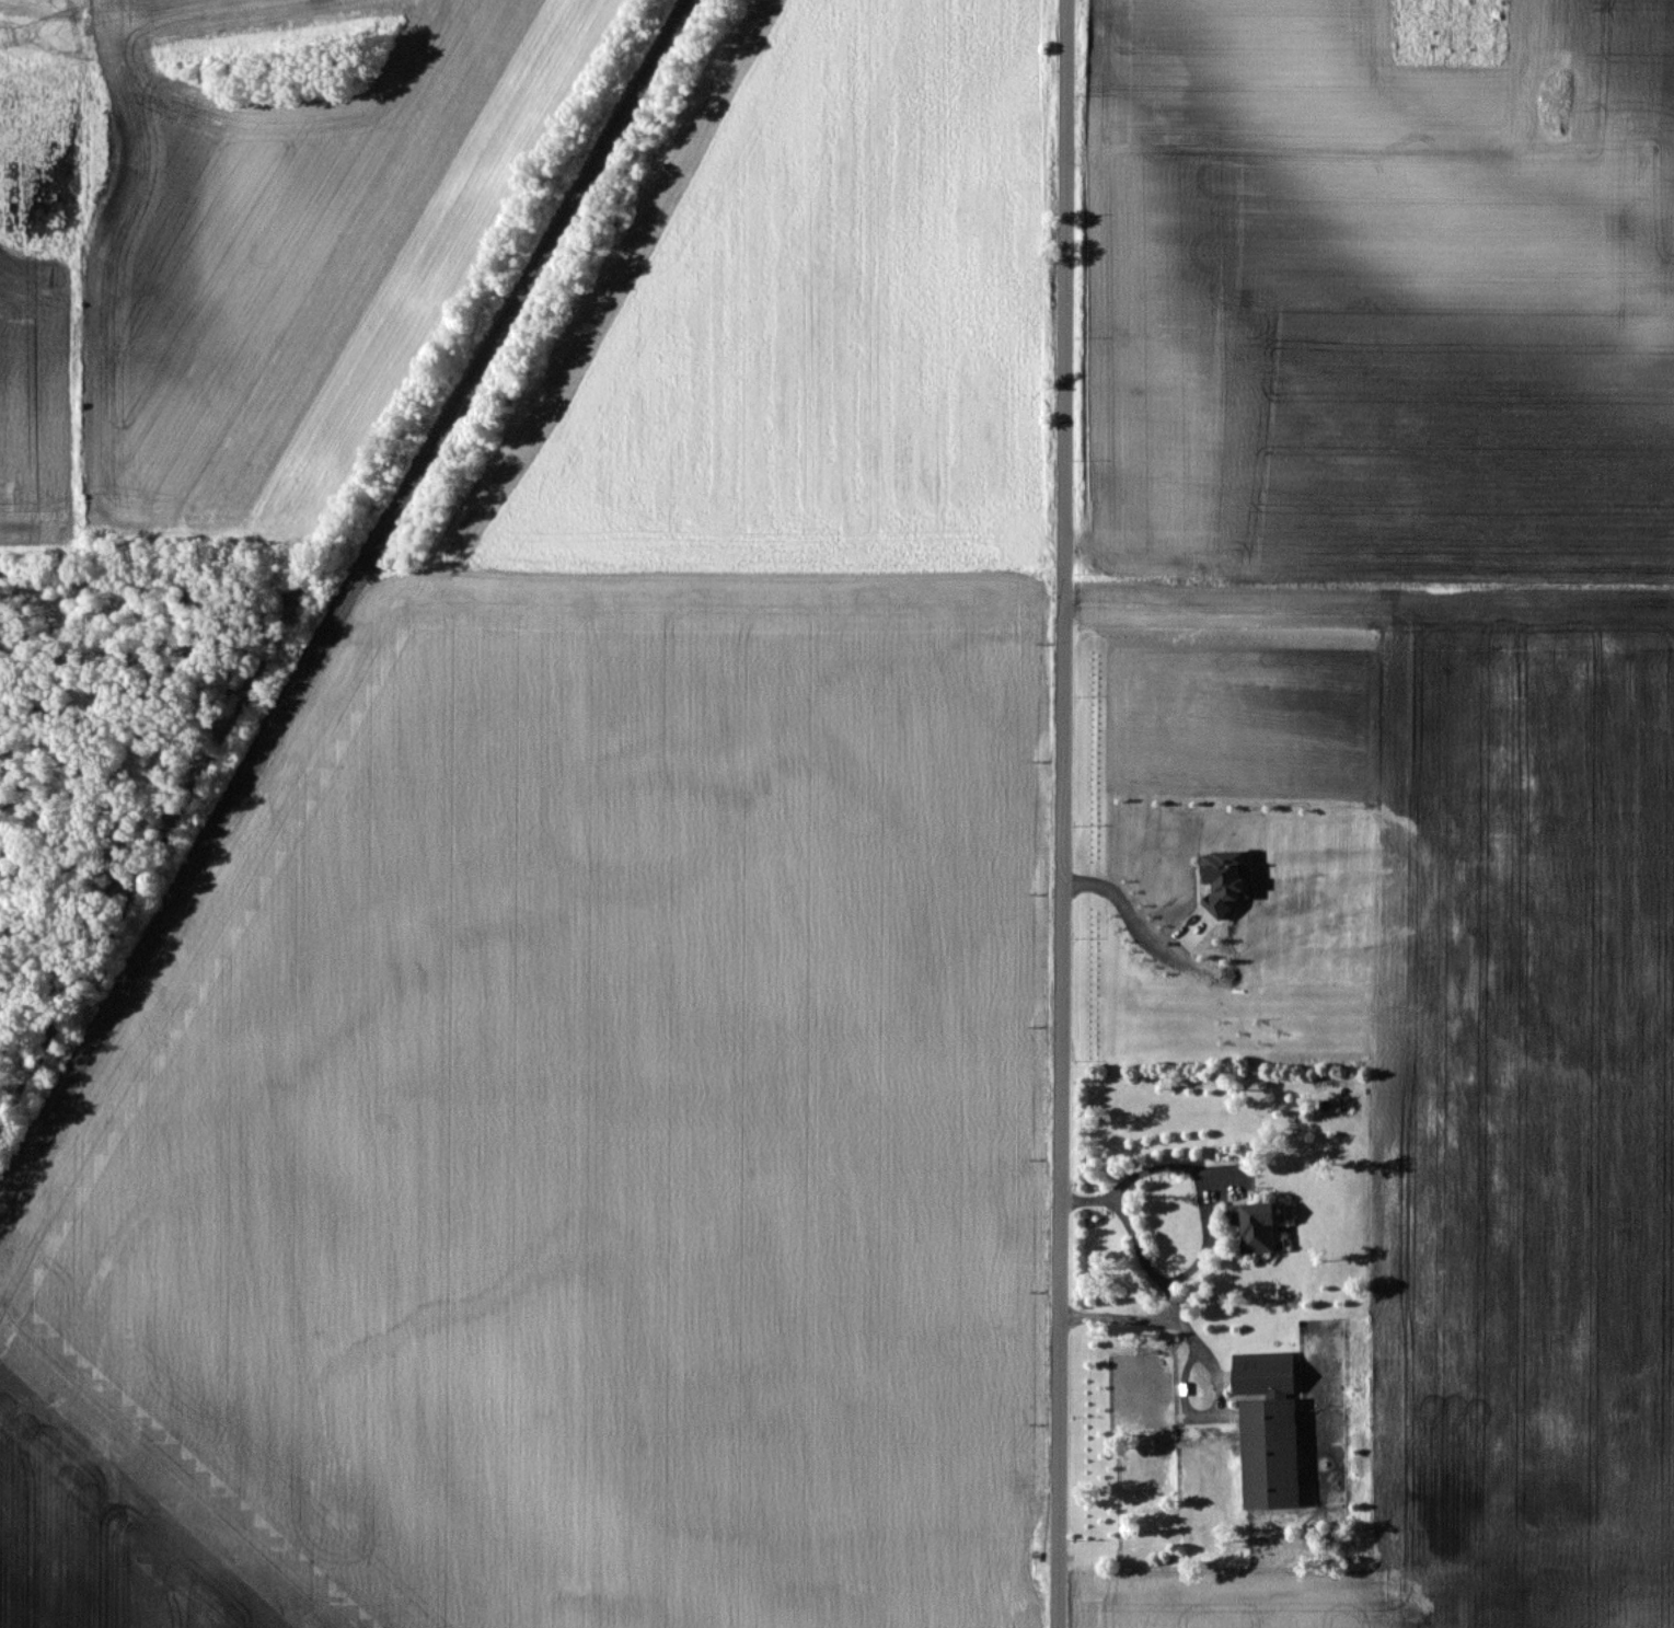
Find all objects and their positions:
railway: (342, 598)
road: (1059, 813)
road: (1166, 1165)
building: (1255, 1225)
road: (1162, 1279)
road: (1220, 1401)
building: (1268, 1430)

